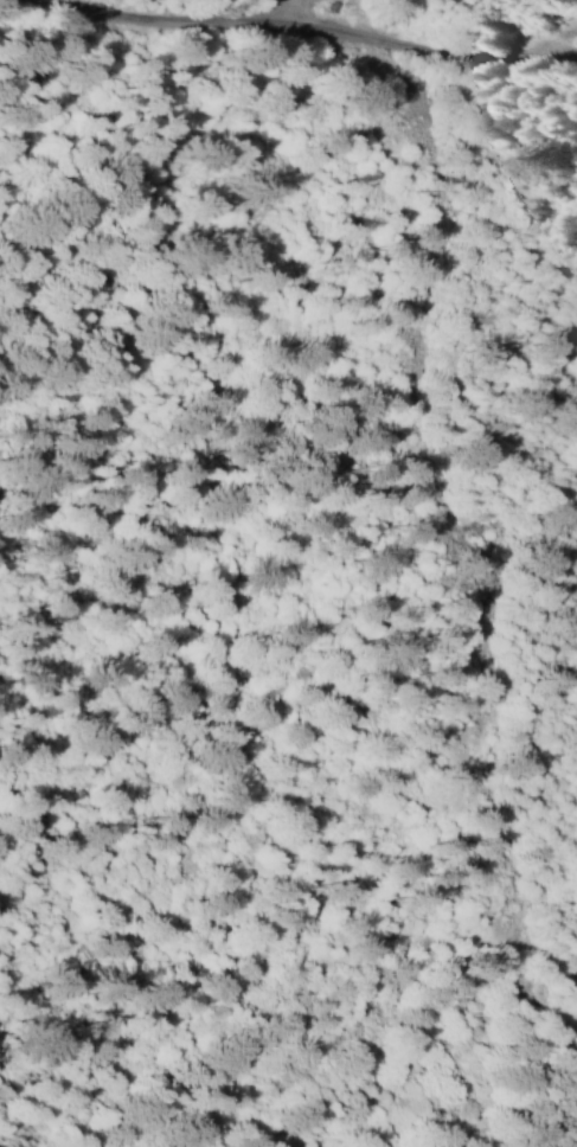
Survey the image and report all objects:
road: (319, 28)

